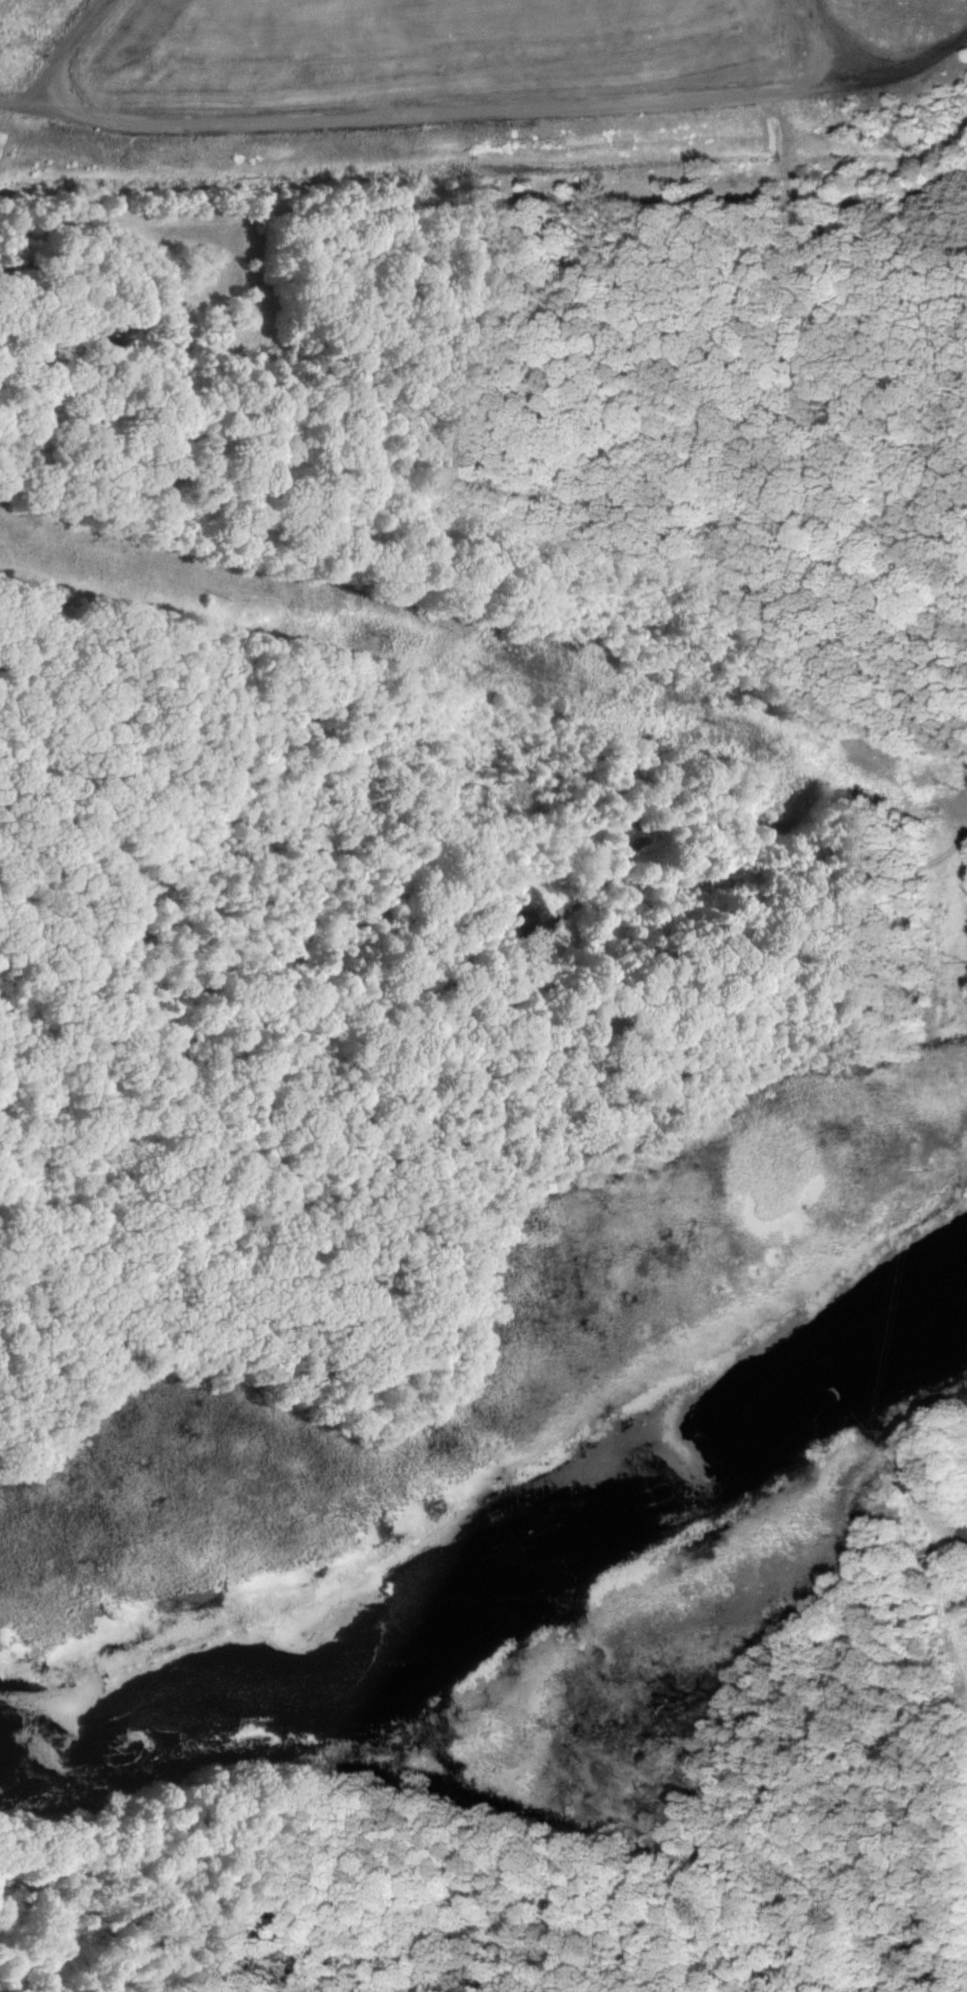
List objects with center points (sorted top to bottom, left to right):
park: (955, 1531)
road: (964, 1531)
river: (504, 1560)

